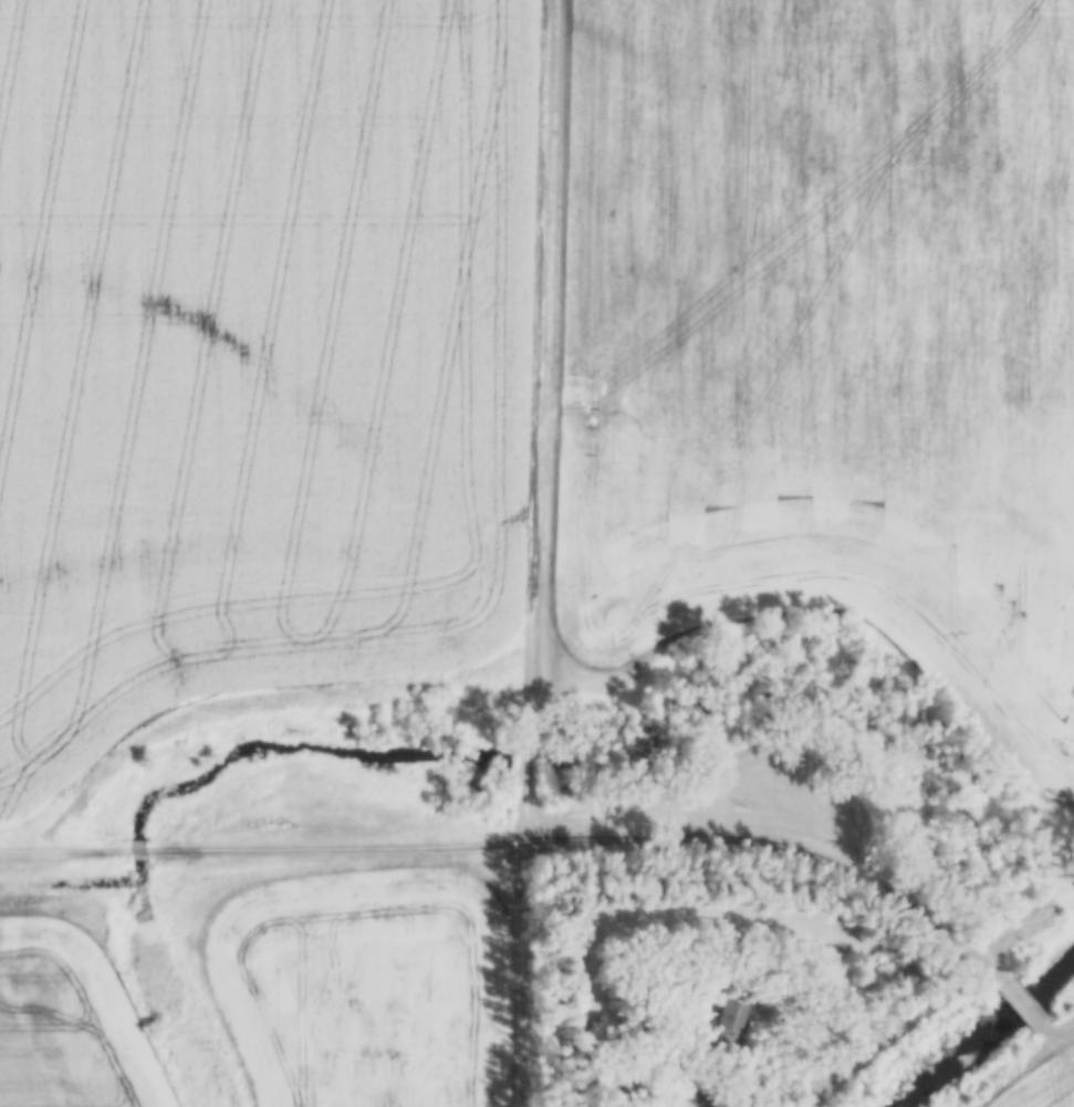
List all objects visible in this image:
crop: (830, 332)
crop: (253, 354)
road: (535, 419)
road: (253, 701)
road: (585, 839)
road: (135, 848)
road: (63, 849)
crop: (367, 984)
road: (1022, 1004)
building: (739, 1014)
crop: (66, 1019)
road: (1056, 1032)
road: (886, 1034)
crop: (1047, 1085)

